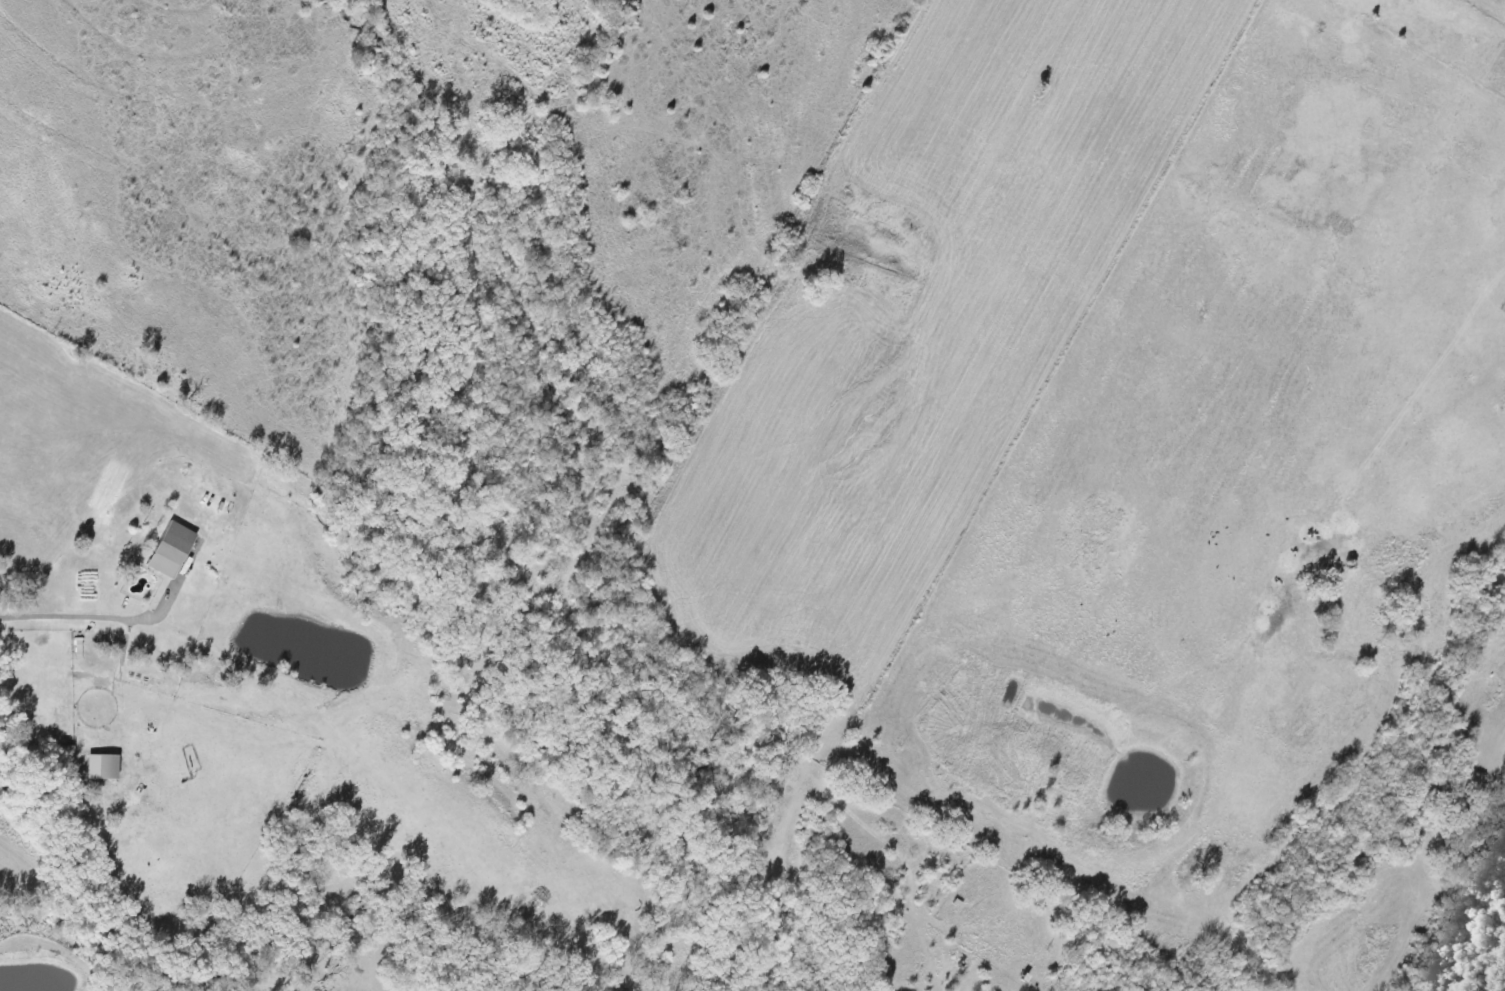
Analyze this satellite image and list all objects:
building: (172, 549)
road: (82, 628)
building: (103, 767)

